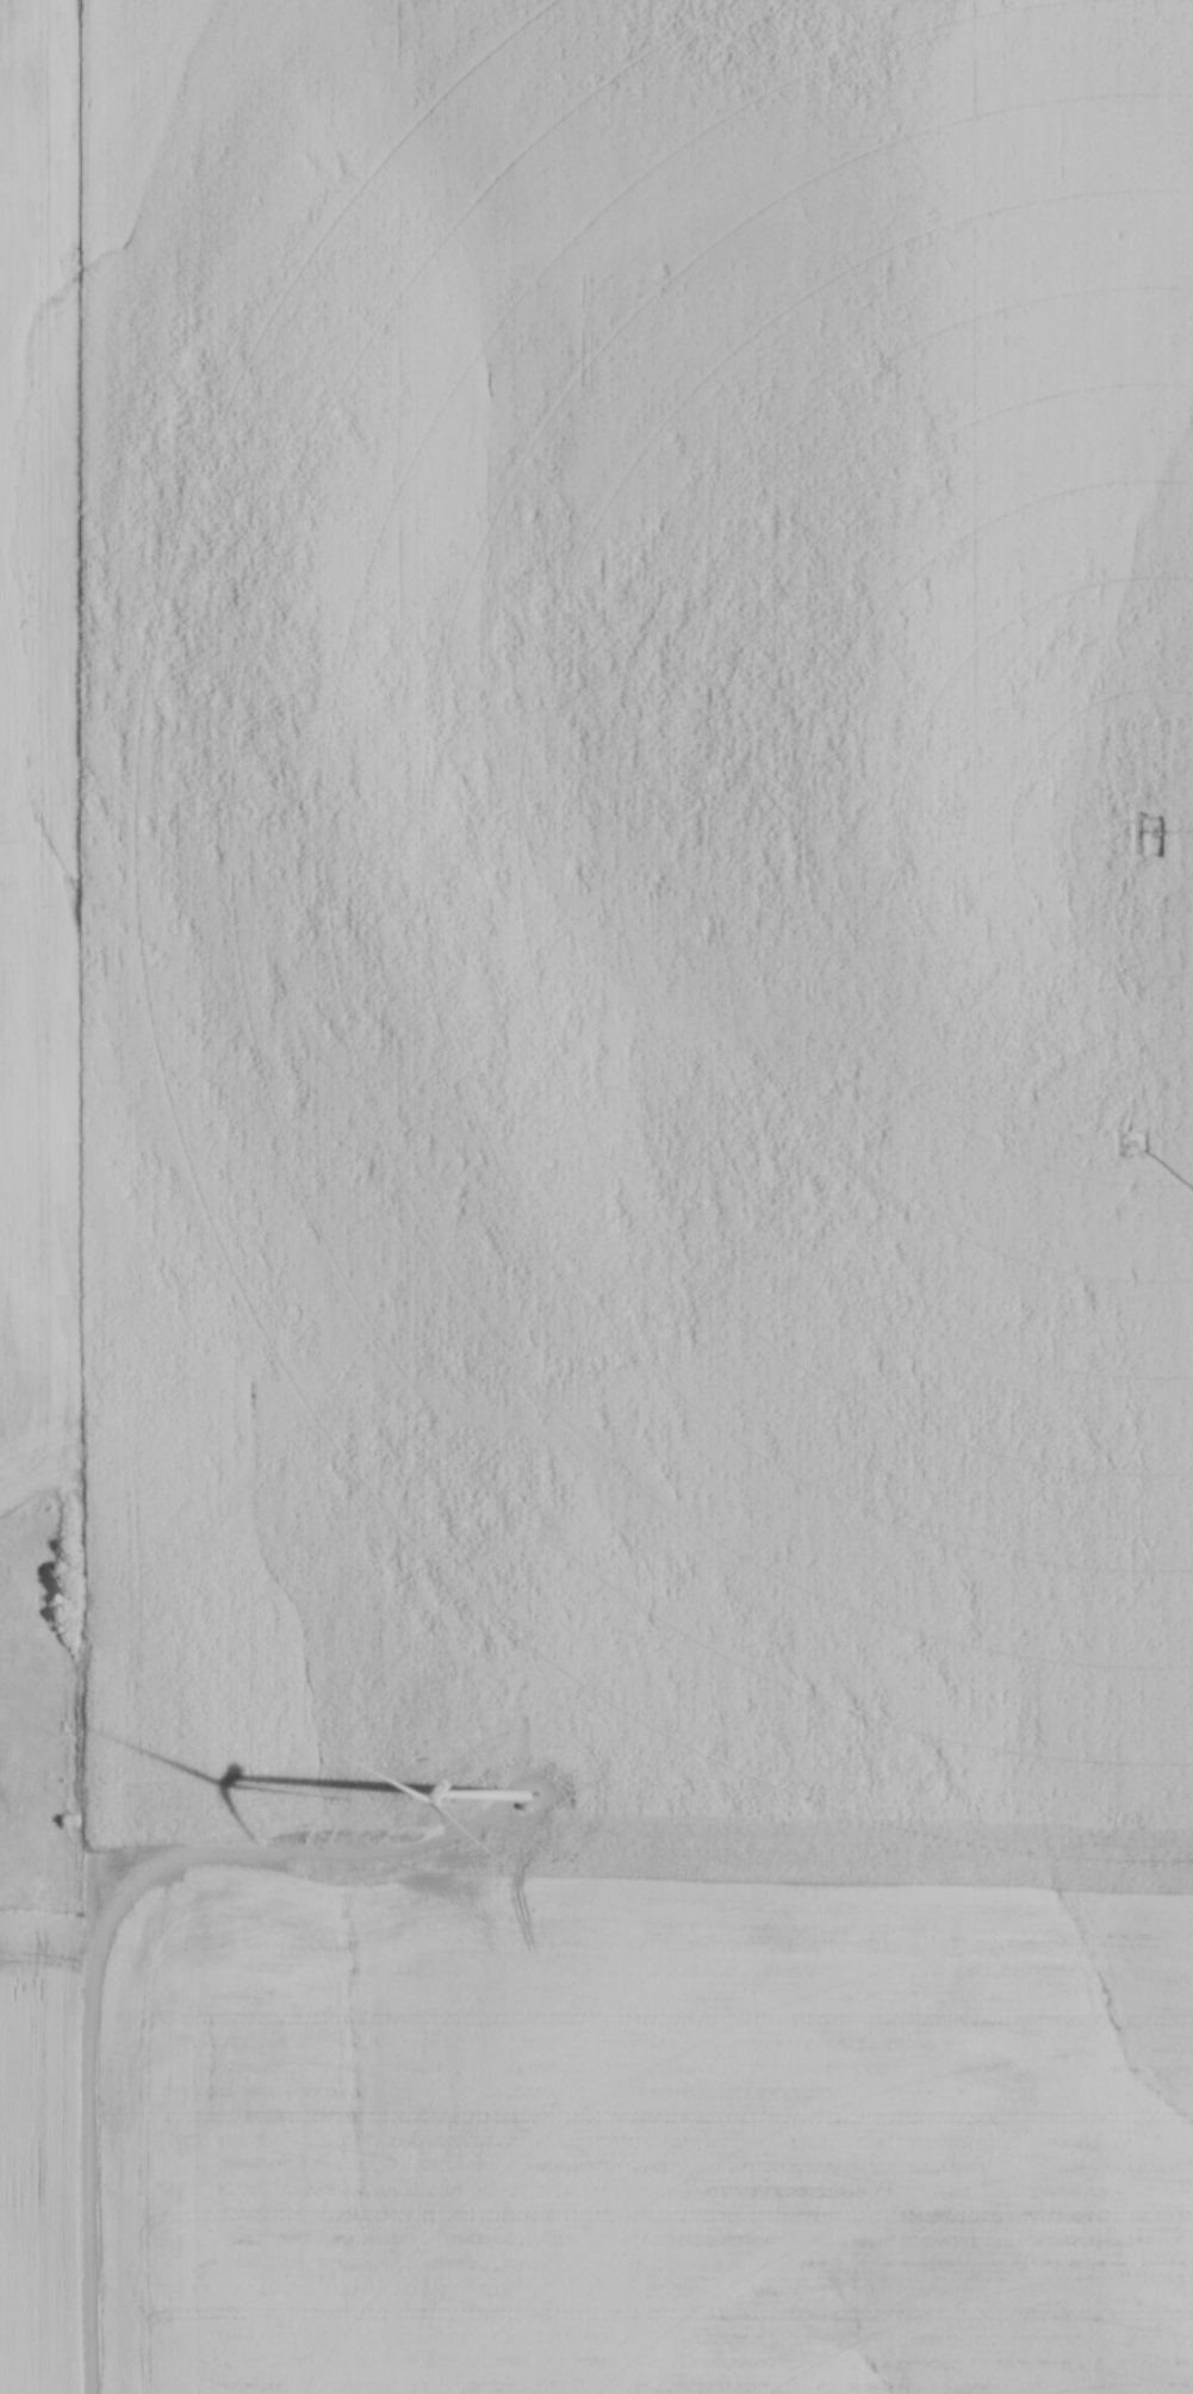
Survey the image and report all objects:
wind turbine: (527, 1794)
road: (97, 1942)

